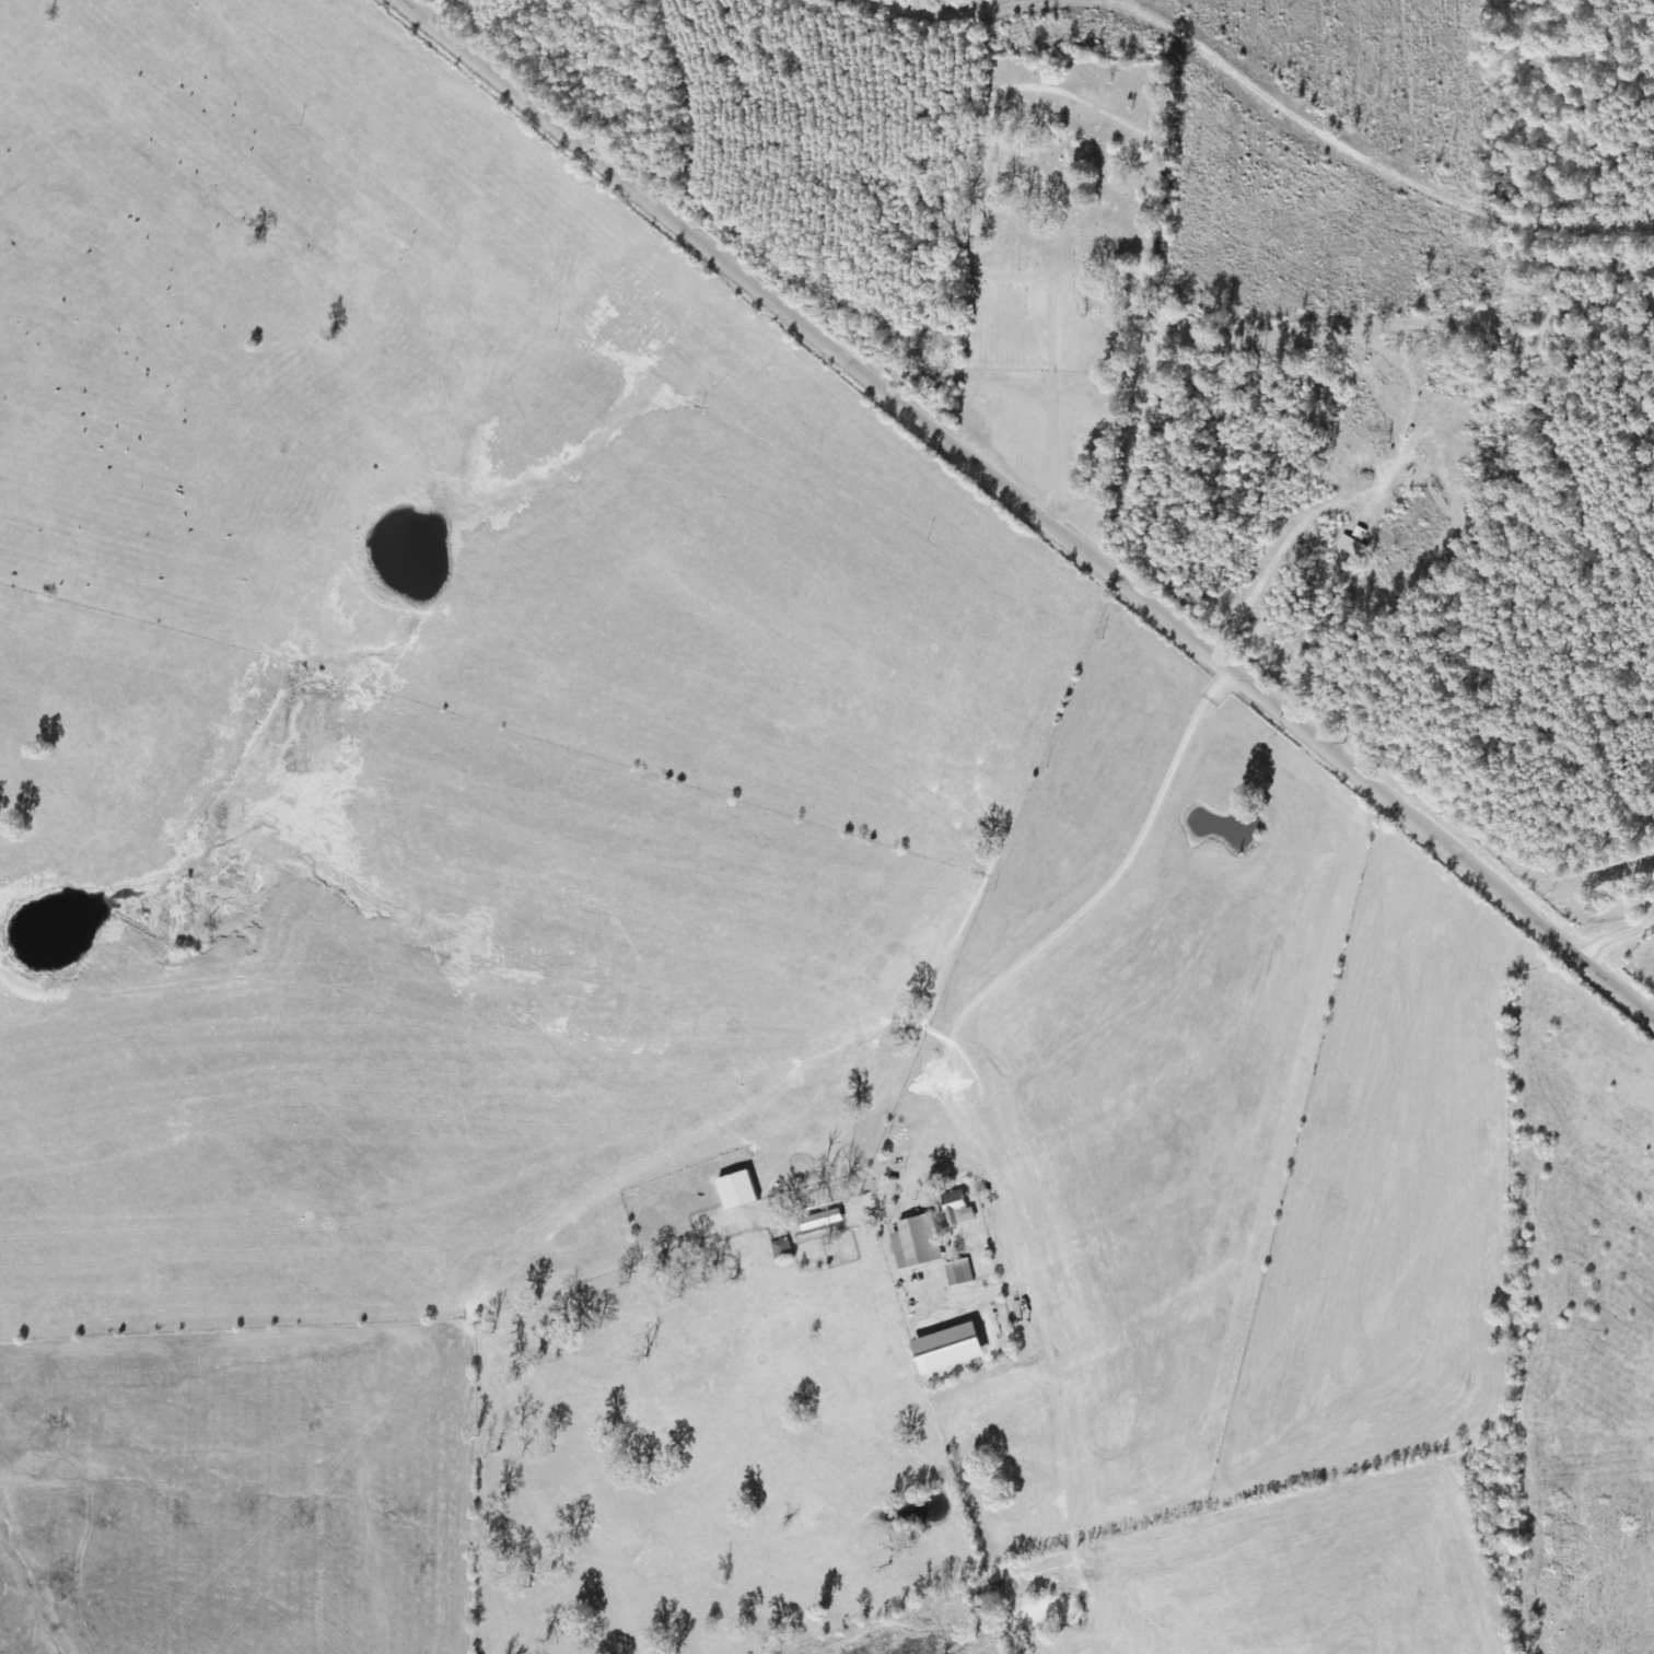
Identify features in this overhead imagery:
road: (1290, 92)
park: (1052, 222)
road: (1023, 509)
road: (1617, 950)
road: (822, 1172)
building: (957, 1209)
building: (820, 1220)
building: (917, 1243)
building: (958, 1273)
building: (947, 1349)

